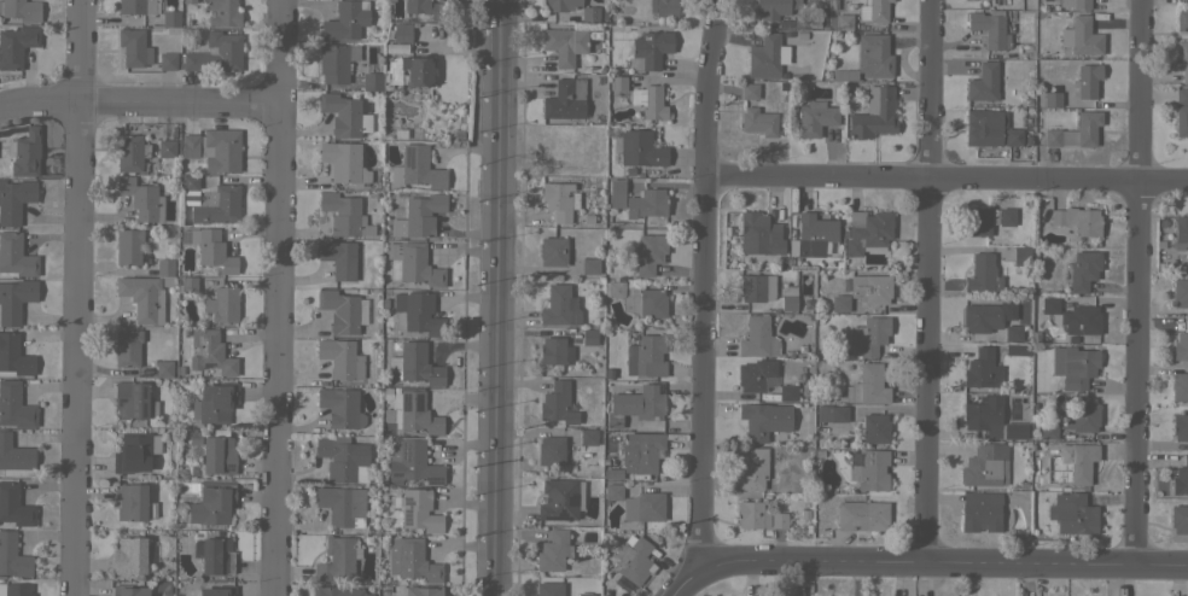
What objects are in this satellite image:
building: (190, 1)
building: (992, 2)
building: (561, 4)
building: (1073, 4)
building: (136, 6)
building: (663, 7)
building: (775, 7)
building: (427, 8)
building: (21, 10)
building: (874, 10)
building: (222, 12)
building: (590, 14)
building: (1182, 18)
building: (169, 19)
building: (345, 19)
building: (841, 21)
building: (805, 22)
road: (497, 24)
building: (860, 25)
building: (990, 28)
building: (402, 33)
building: (1081, 36)
building: (564, 45)
building: (16, 46)
building: (134, 47)
building: (650, 49)
building: (215, 53)
building: (873, 55)
building: (765, 57)
building: (1182, 59)
building: (168, 60)
building: (336, 62)
building: (391, 70)
building: (417, 70)
building: (844, 75)
building: (372, 81)
building: (1085, 81)
building: (617, 82)
building: (983, 82)
building: (750, 90)
building: (565, 99)
building: (1050, 99)
building: (648, 101)
road: (139, 104)
building: (1181, 112)
building: (874, 113)
building: (344, 115)
building: (815, 117)
building: (758, 121)
building: (983, 127)
building: (1076, 132)
building: (1012, 136)
building: (190, 145)
building: (639, 147)
building: (165, 148)
building: (221, 150)
building: (24, 152)
building: (130, 152)
rooftop solar panel: (408, 156)
building: (344, 162)
building: (415, 168)
road: (945, 177)
building: (141, 198)
building: (14, 199)
building: (636, 199)
building: (209, 200)
building: (559, 200)
building: (344, 215)
building: (420, 215)
building: (1006, 216)
building: (1077, 220)
building: (978, 221)
building: (1181, 229)
building: (867, 232)
building: (758, 234)
building: (814, 236)
building: (128, 246)
building: (212, 250)
building: (553, 251)
building: (1159, 251)
building: (646, 253)
building: (16, 256)
building: (1021, 256)
building: (338, 257)
building: (414, 265)
building: (589, 265)
building: (164, 267)
building: (1083, 269)
building: (982, 274)
road: (928, 279)
road: (703, 280)
road: (1140, 281)
building: (187, 284)
building: (756, 287)
building: (870, 288)
building: (1180, 292)
road: (75, 297)
road: (276, 297)
building: (787, 297)
building: (141, 298)
building: (14, 299)
building: (639, 299)
building: (839, 303)
building: (222, 304)
building: (1019, 304)
building: (559, 306)
building: (340, 311)
building: (417, 312)
building: (1073, 316)
building: (982, 317)
road: (494, 322)
building: (1012, 332)
building: (869, 334)
building: (588, 337)
building: (757, 338)
building: (1181, 344)
building: (127, 347)
building: (1017, 350)
building: (554, 351)
building: (210, 352)
building: (13, 355)
building: (645, 356)
building: (340, 358)
building: (415, 364)
building: (1073, 366)
building: (163, 368)
building: (982, 369)
building: (607, 374)
building: (755, 374)
building: (867, 385)
building: (1180, 386)
building: (787, 392)
building: (133, 401)
rooftop solar panel: (407, 401)
rooftop solar panel: (417, 401)
building: (216, 402)
building: (557, 403)
building: (635, 405)
building: (14, 407)
building: (340, 408)
building: (832, 413)
building: (413, 414)
building: (984, 415)
building: (1081, 417)
building: (764, 420)
building: (1180, 426)
building: (872, 427)
building: (1015, 431)
building: (1048, 431)
building: (587, 437)
rooftop solar panel: (406, 446)
building: (551, 450)
building: (134, 451)
building: (640, 451)
building: (217, 455)
building: (14, 457)
building: (340, 461)
building: (1077, 462)
building: (414, 463)
building: (985, 464)
rooftop solar panel: (228, 468)
building: (755, 468)
building: (869, 469)
building: (611, 474)
rooftop solar panel: (397, 475)
building: (1180, 478)
rooftop solar panel: (435, 479)
building: (558, 498)
building: (130, 501)
building: (212, 503)
building: (340, 503)
building: (636, 503)
building: (13, 506)
rooftop solar panel: (409, 510)
building: (419, 510)
building: (980, 510)
building: (1073, 513)
building: (751, 514)
building: (861, 515)
building: (1178, 519)
building: (778, 520)
building: (554, 550)
building: (128, 555)
building: (214, 555)
building: (12, 556)
building: (337, 559)
building: (633, 559)
road: (922, 560)
building: (414, 561)
building: (549, 589)
building: (17, 590)
building: (128, 590)
building: (216, 591)
building: (337, 591)
building: (423, 591)
building: (584, 594)

